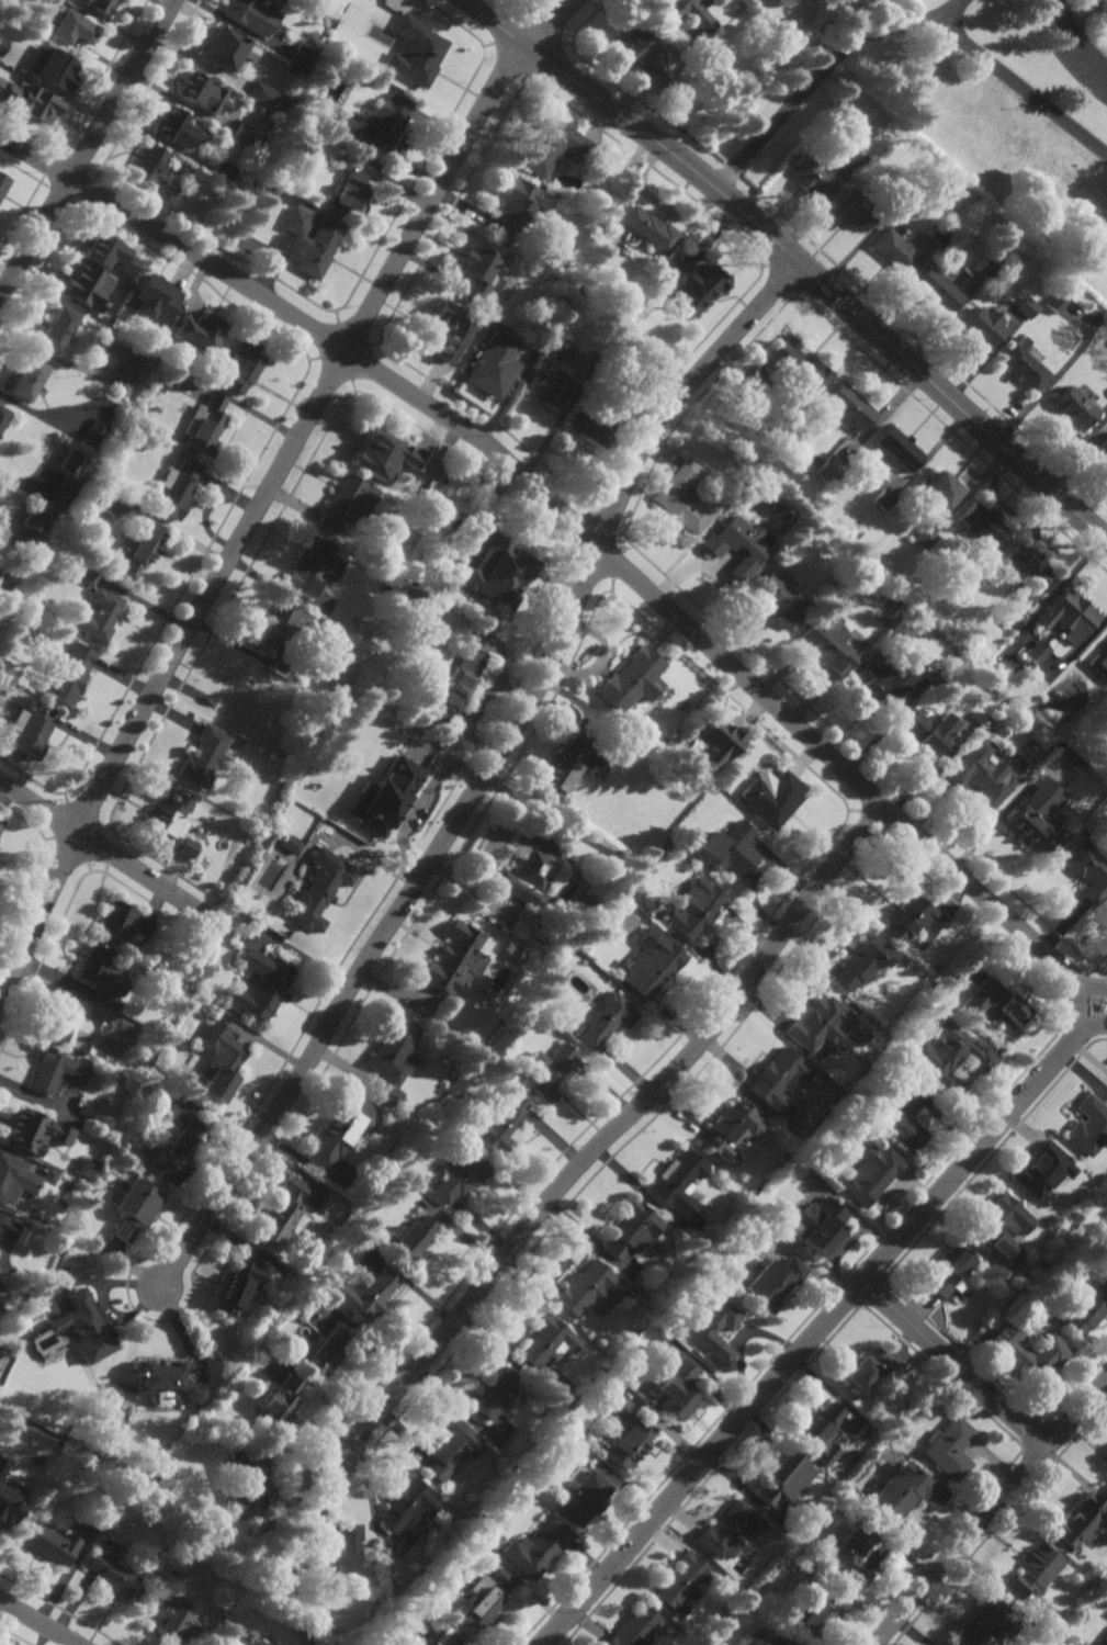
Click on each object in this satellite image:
building: (65, 0)
building: (268, 0)
building: (338, 3)
parking lot: (1089, 3)
building: (102, 4)
building: (242, 11)
building: (689, 13)
building: (76, 29)
road: (1075, 43)
building: (2, 44)
building: (226, 47)
building: (415, 50)
parking lot: (1077, 54)
building: (301, 55)
building: (637, 55)
building: (15, 59)
building: (58, 70)
road: (825, 70)
building: (0, 80)
road: (1023, 90)
building: (258, 92)
building: (203, 93)
building: (24, 98)
building: (376, 124)
building: (176, 127)
building: (242, 133)
road: (88, 148)
building: (553, 148)
building: (856, 157)
building: (179, 167)
building: (154, 171)
building: (222, 171)
building: (810, 176)
building: (3, 183)
building: (353, 188)
building: (902, 193)
building: (516, 206)
building: (855, 210)
building: (648, 229)
building: (940, 233)
building: (308, 241)
building: (895, 251)
building: (109, 255)
road: (795, 257)
building: (984, 269)
building: (479, 273)
building: (696, 284)
building: (87, 286)
building: (936, 291)
building: (577, 292)
building: (154, 300)
building: (1053, 303)
building: (1026, 308)
building: (983, 326)
building: (57, 330)
building: (199, 333)
building: (453, 334)
building: (526, 348)
building: (557, 348)
building: (492, 365)
building: (1021, 365)
building: (239, 367)
building: (791, 368)
building: (127, 372)
building: (27, 381)
building: (547, 388)
building: (848, 407)
building: (1073, 408)
building: (2, 415)
building: (600, 419)
building: (205, 426)
building: (92, 432)
building: (1103, 446)
building: (899, 447)
building: (379, 451)
building: (71, 462)
building: (827, 470)
building: (177, 487)
building: (941, 487)
road: (270, 488)
building: (60, 496)
building: (685, 497)
building: (883, 498)
building: (347, 502)
building: (110, 503)
building: (982, 525)
building: (34, 529)
building: (338, 529)
building: (925, 537)
building: (140, 544)
building: (744, 544)
building: (1027, 563)
building: (310, 566)
building: (500, 570)
building: (89, 575)
building: (964, 577)
building: (782, 599)
building: (416, 600)
building: (1069, 613)
building: (99, 615)
building: (1014, 619)
building: (282, 622)
building: (829, 644)
building: (1037, 652)
building: (1099, 661)
building: (74, 673)
building: (935, 675)
building: (941, 678)
building: (632, 679)
building: (888, 680)
building: (456, 683)
building: (242, 696)
building: (986, 730)
building: (34, 731)
building: (931, 732)
building: (714, 741)
building: (669, 745)
building: (207, 757)
building: (567, 763)
building: (1074, 763)
building: (984, 773)
road: (485, 775)
building: (372, 786)
building: (777, 800)
road: (890, 809)
building: (1036, 816)
building: (1, 824)
building: (170, 826)
road: (91, 840)
building: (290, 844)
building: (732, 850)
building: (530, 868)
building: (1089, 870)
building: (319, 889)
building: (589, 904)
building: (692, 910)
building: (116, 920)
building: (913, 920)
building: (145, 927)
building: (452, 958)
building: (652, 962)
building: (862, 962)
building: (935, 968)
building: (102, 969)
building: (262, 984)
road: (1094, 987)
building: (996, 1003)
building: (606, 1019)
building: (824, 1026)
road: (1094, 1026)
building: (74, 1027)
building: (902, 1043)
building: (948, 1056)
building: (392, 1058)
building: (221, 1070)
building: (56, 1071)
building: (543, 1072)
building: (779, 1080)
building: (907, 1119)
building: (1089, 1125)
building: (498, 1126)
building: (732, 1128)
building: (342, 1129)
road: (612, 1129)
building: (32, 1133)
building: (805, 1149)
building: (178, 1153)
building: (84, 1168)
building: (1042, 1170)
building: (460, 1172)
building: (19, 1176)
building: (871, 1176)
building: (679, 1182)
building: (756, 1205)
building: (135, 1206)
building: (285, 1212)
building: (820, 1227)
building: (631, 1228)
building: (1001, 1228)
building: (9, 1229)
building: (409, 1237)
building: (3, 1254)
building: (951, 1272)
building: (775, 1282)
building: (238, 1286)
building: (589, 1287)
building: (368, 1293)
building: (1085, 1309)
building: (86, 1325)
building: (718, 1330)
building: (545, 1343)
building: (321, 1351)
building: (1028, 1352)
building: (257, 1359)
road: (957, 1365)
building: (870, 1368)
building: (167, 1378)
building: (677, 1390)
building: (120, 1392)
building: (496, 1394)
building: (280, 1401)
road: (1078, 1416)
building: (878, 1417)
building: (818, 1424)
building: (631, 1438)
building: (950, 1447)
building: (450, 1449)
building: (2, 1465)
building: (784, 1477)
building: (247, 1479)
building: (1106, 1488)
building: (907, 1494)
building: (585, 1498)
building: (407, 1505)
building: (8, 1516)
building: (1077, 1520)
building: (731, 1528)
building: (813, 1537)
building: (47, 1543)
road: (963, 1546)
building: (538, 1548)
building: (857, 1552)
building: (336, 1554)
building: (1035, 1570)
building: (116, 1573)
building: (1096, 1575)
building: (681, 1579)
building: (1089, 1584)
building: (488, 1597)
building: (377, 1608)
building: (171, 1614)
building: (817, 1614)
road: (37, 1623)
building: (986, 1623)
building: (634, 1627)
building: (335, 1632)
building: (450, 1635)
building: (1057, 1636)
building: (1106, 1636)
building: (231, 1642)
building: (786, 1643)
building: (259, 1644)
building: (371, 1644)
building: (408, 1644)
building: (426, 1644)
building: (941, 1644)

